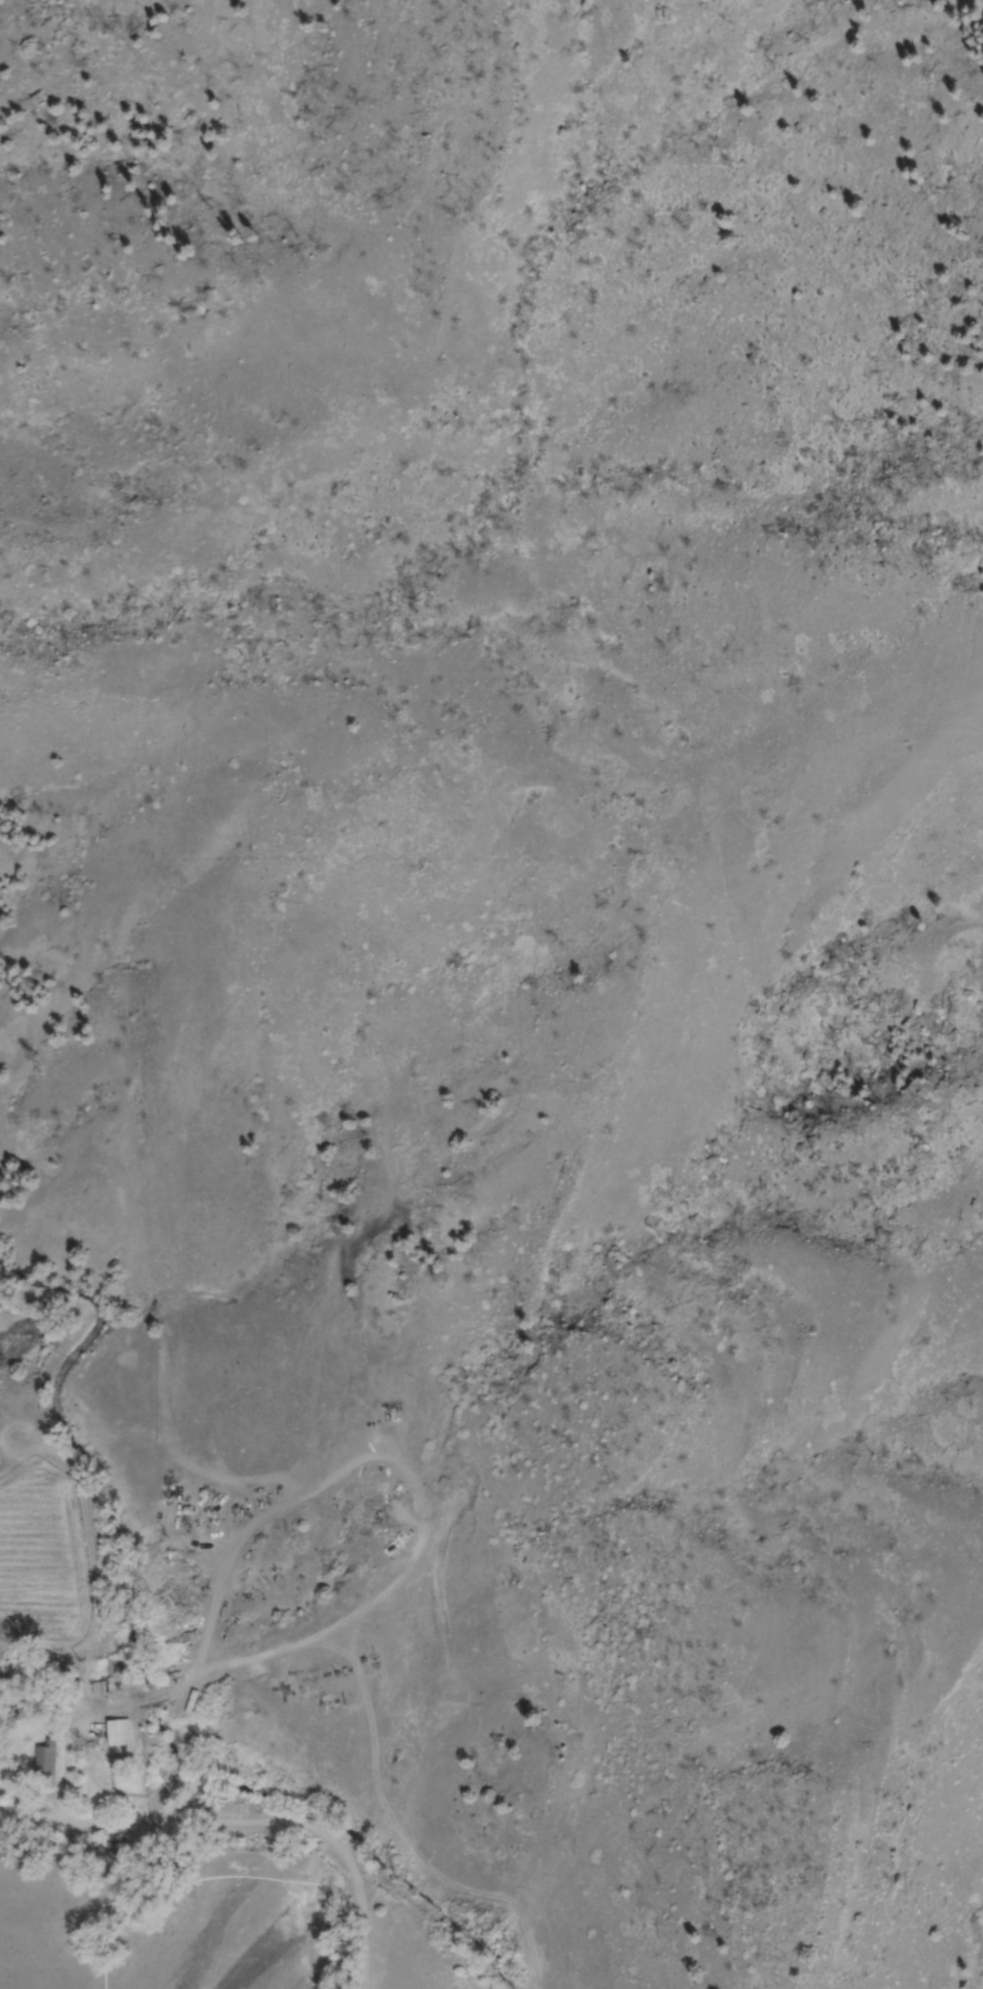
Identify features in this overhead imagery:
building: (184, 1638)
building: (121, 1733)
building: (48, 1765)
road: (166, 1830)
road: (349, 1909)

